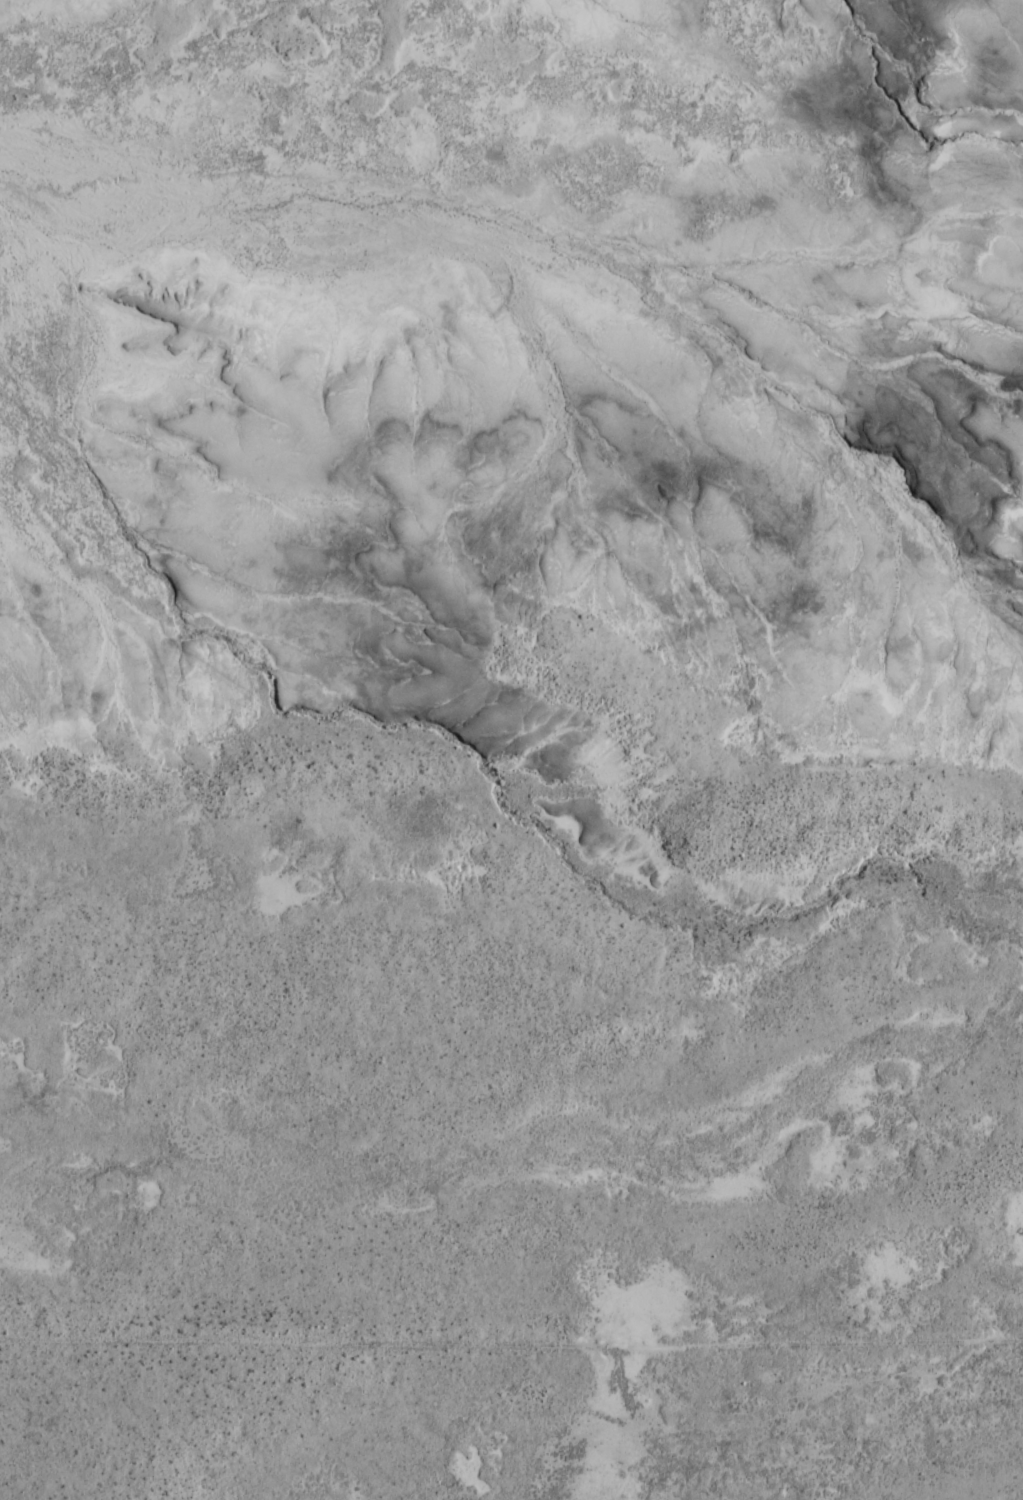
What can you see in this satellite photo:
road: (511, 1328)

